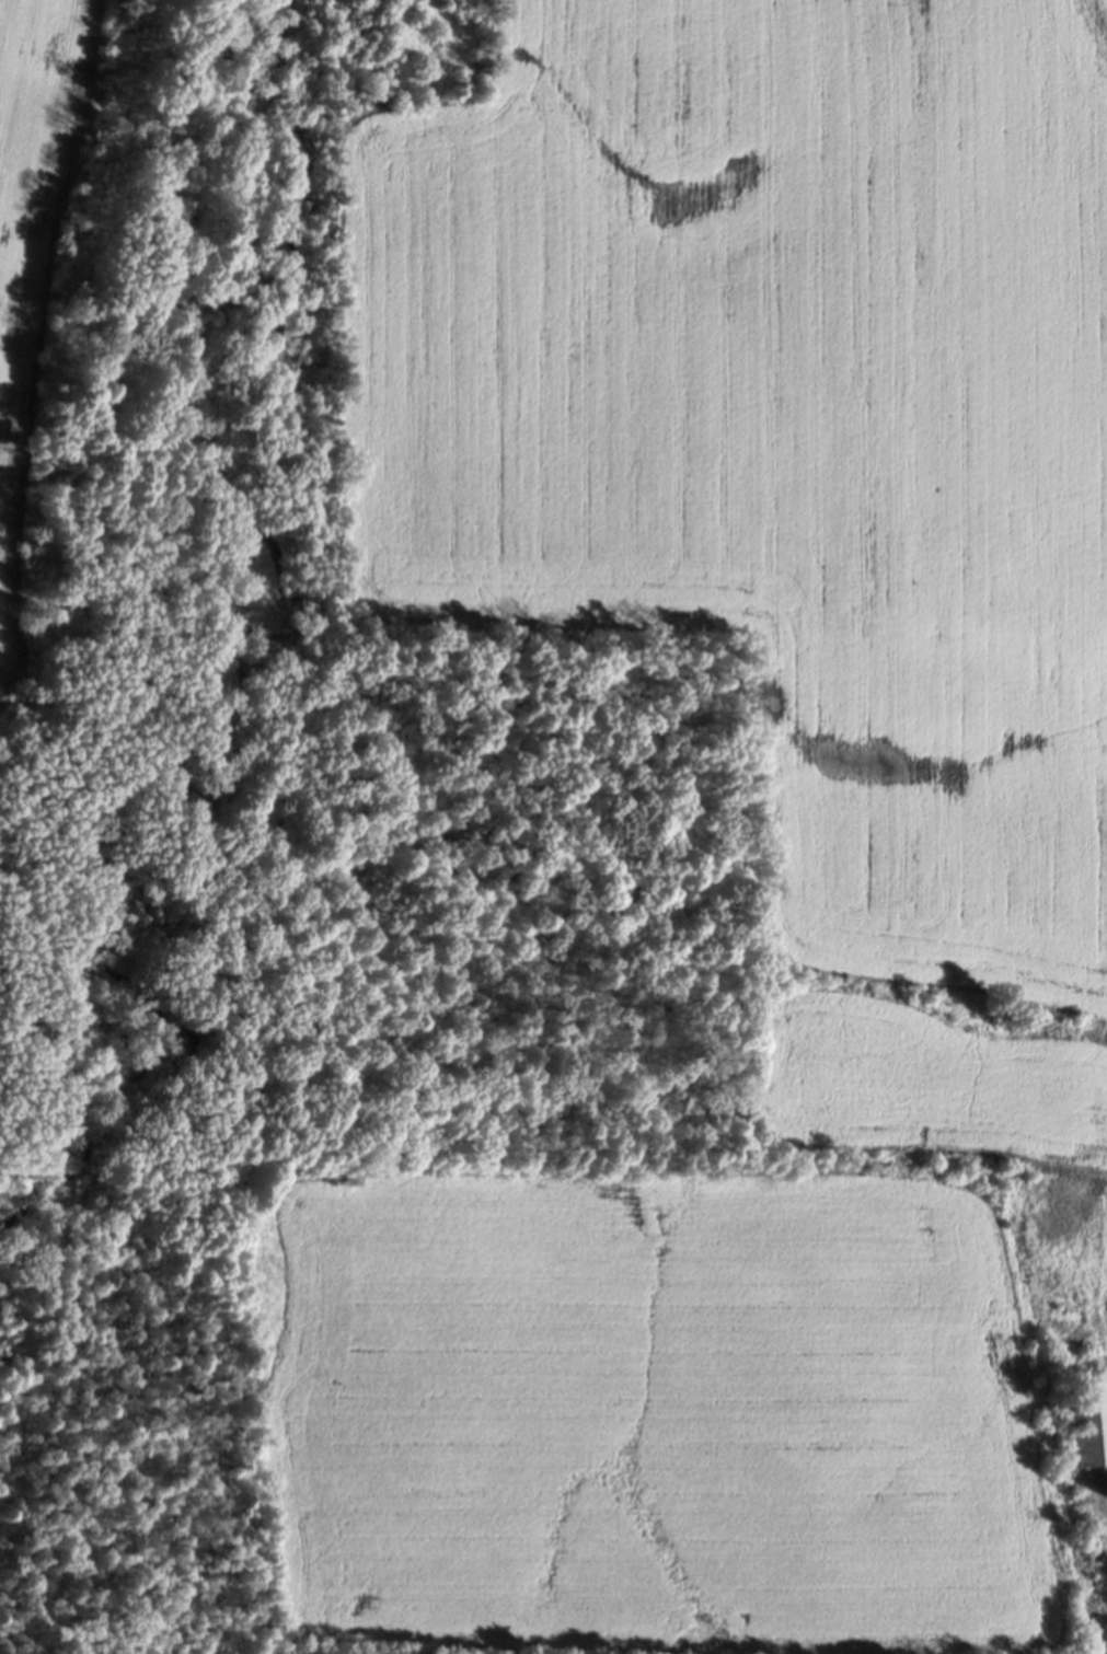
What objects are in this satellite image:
building: (1088, 1429)

